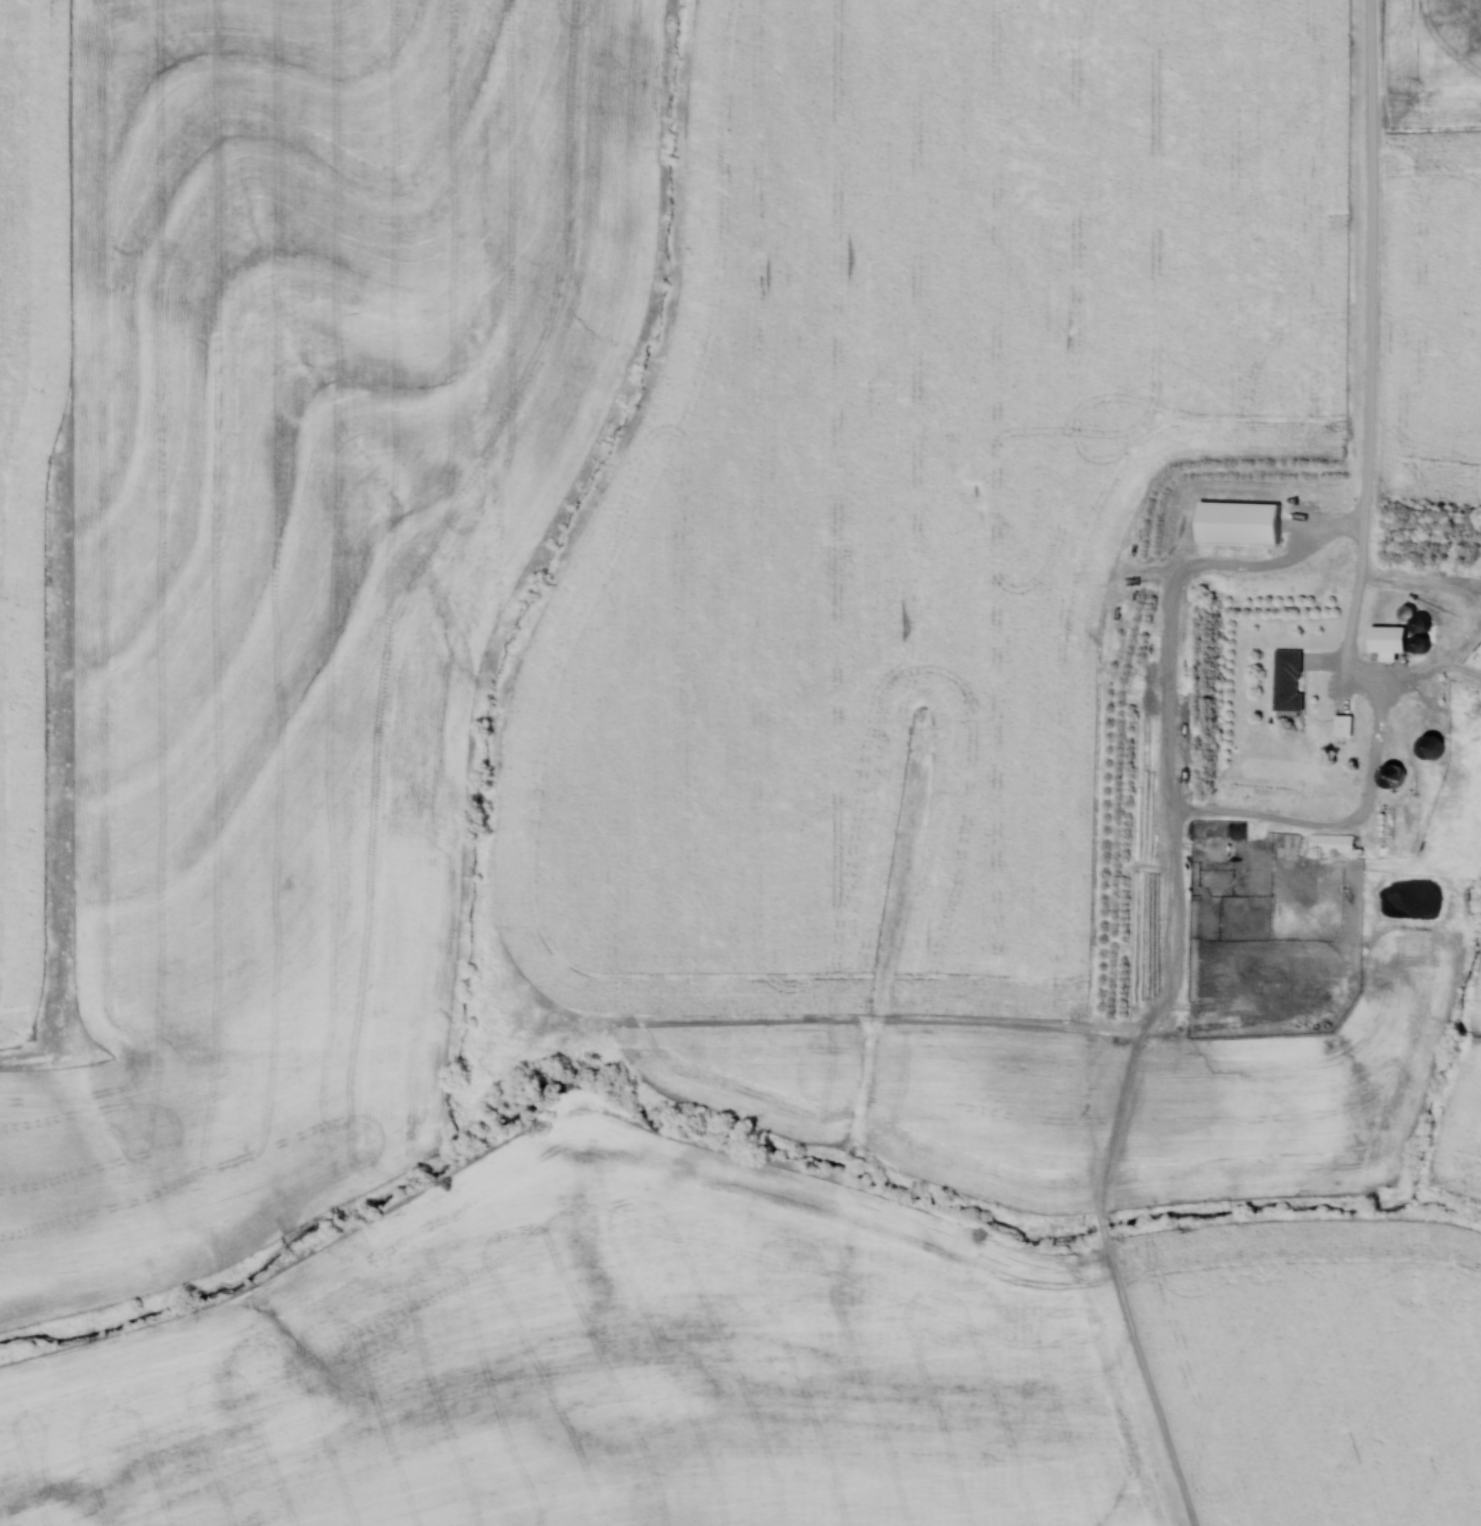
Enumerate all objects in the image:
road: (1368, 517)
building: (1246, 522)
building: (1432, 623)
building: (1397, 638)
building: (1293, 679)
building: (1348, 723)
building: (1441, 745)
building: (1391, 822)
building: (1336, 842)

